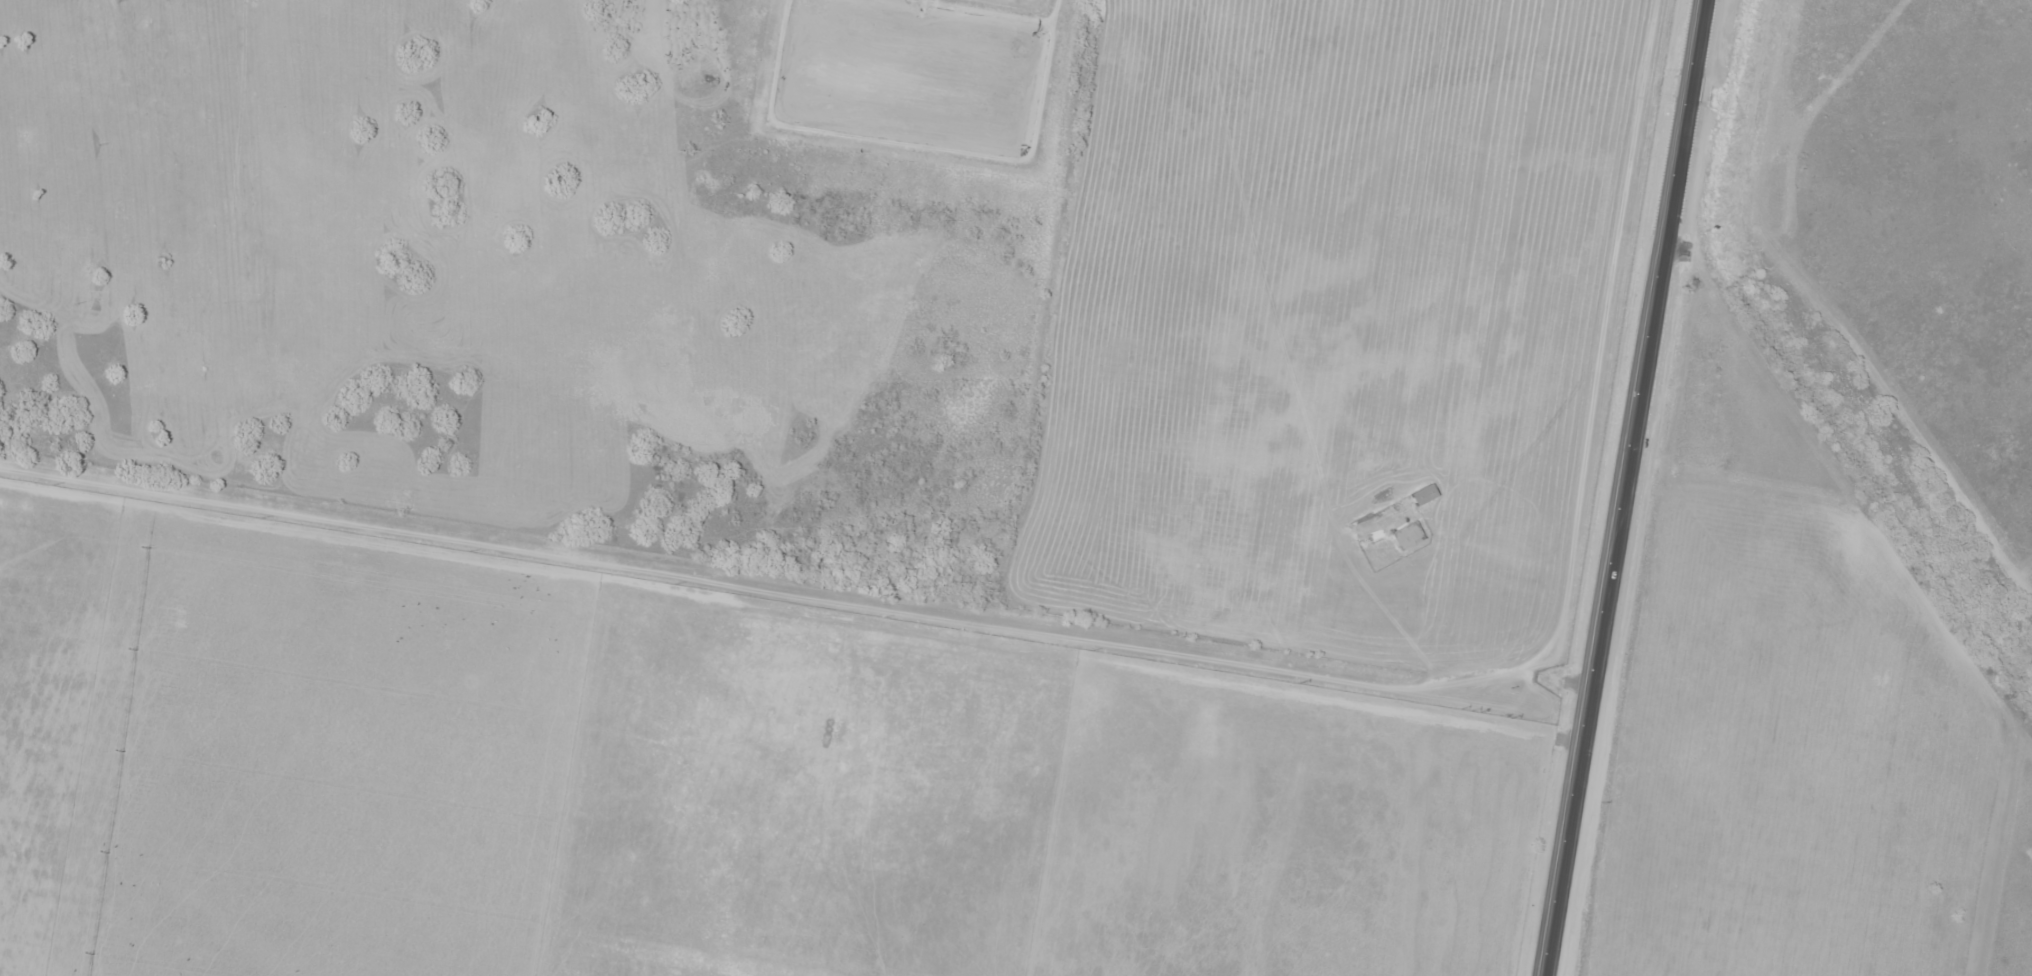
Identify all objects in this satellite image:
airport: (1510, 25)
road: (1620, 487)
building: (1425, 494)
building: (1407, 534)
road: (1071, 626)

